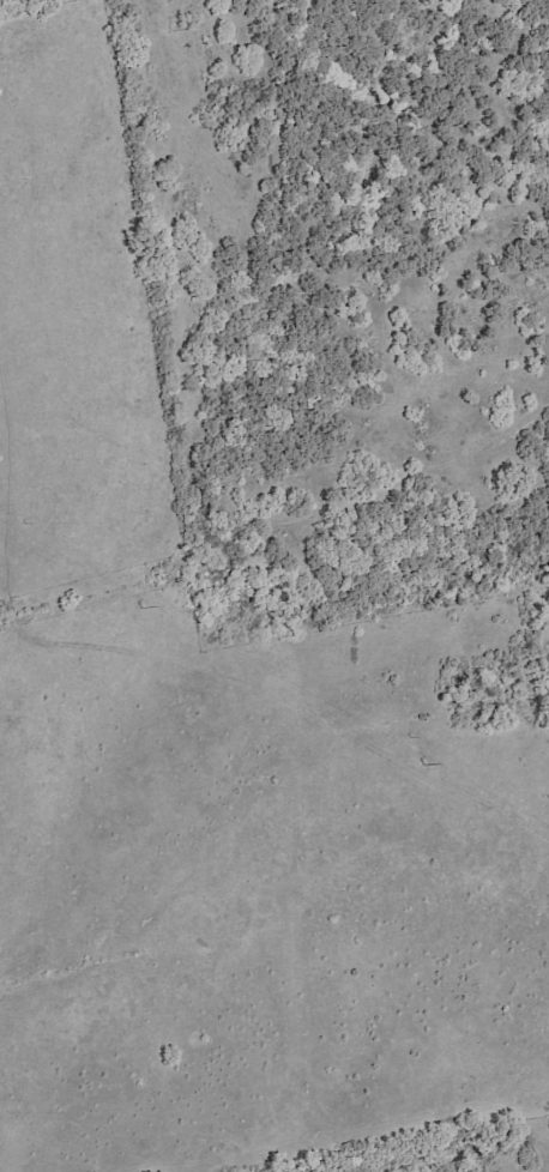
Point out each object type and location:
power tower: (141, 608)
power tower: (424, 765)

